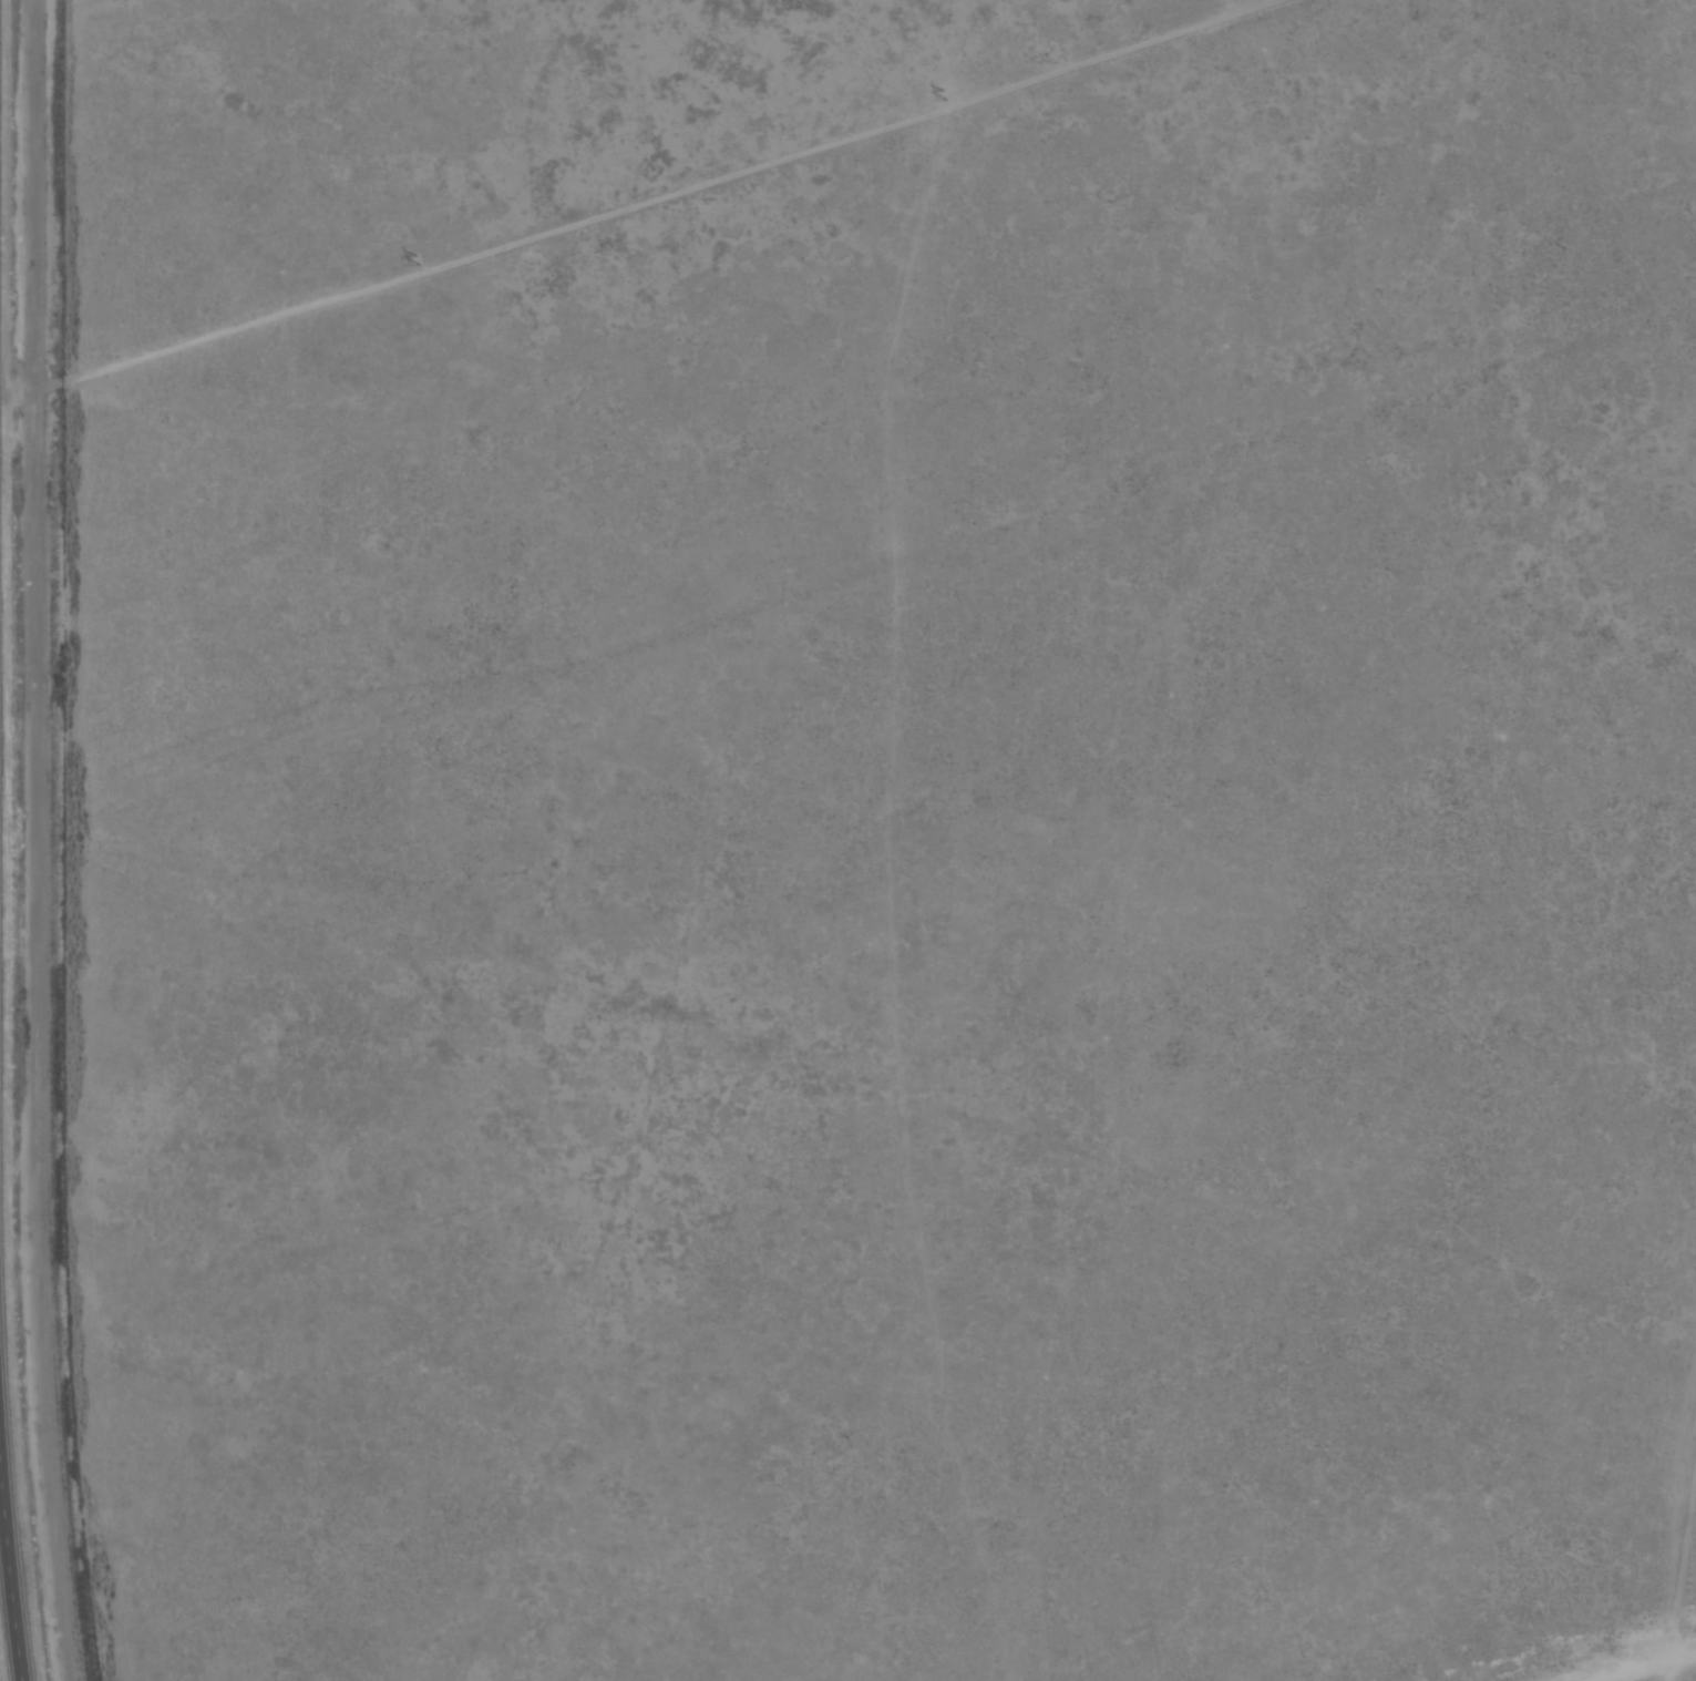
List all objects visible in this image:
power tower: (945, 94)
power tower: (415, 260)
road: (7, 1620)
road: (1627, 1662)

